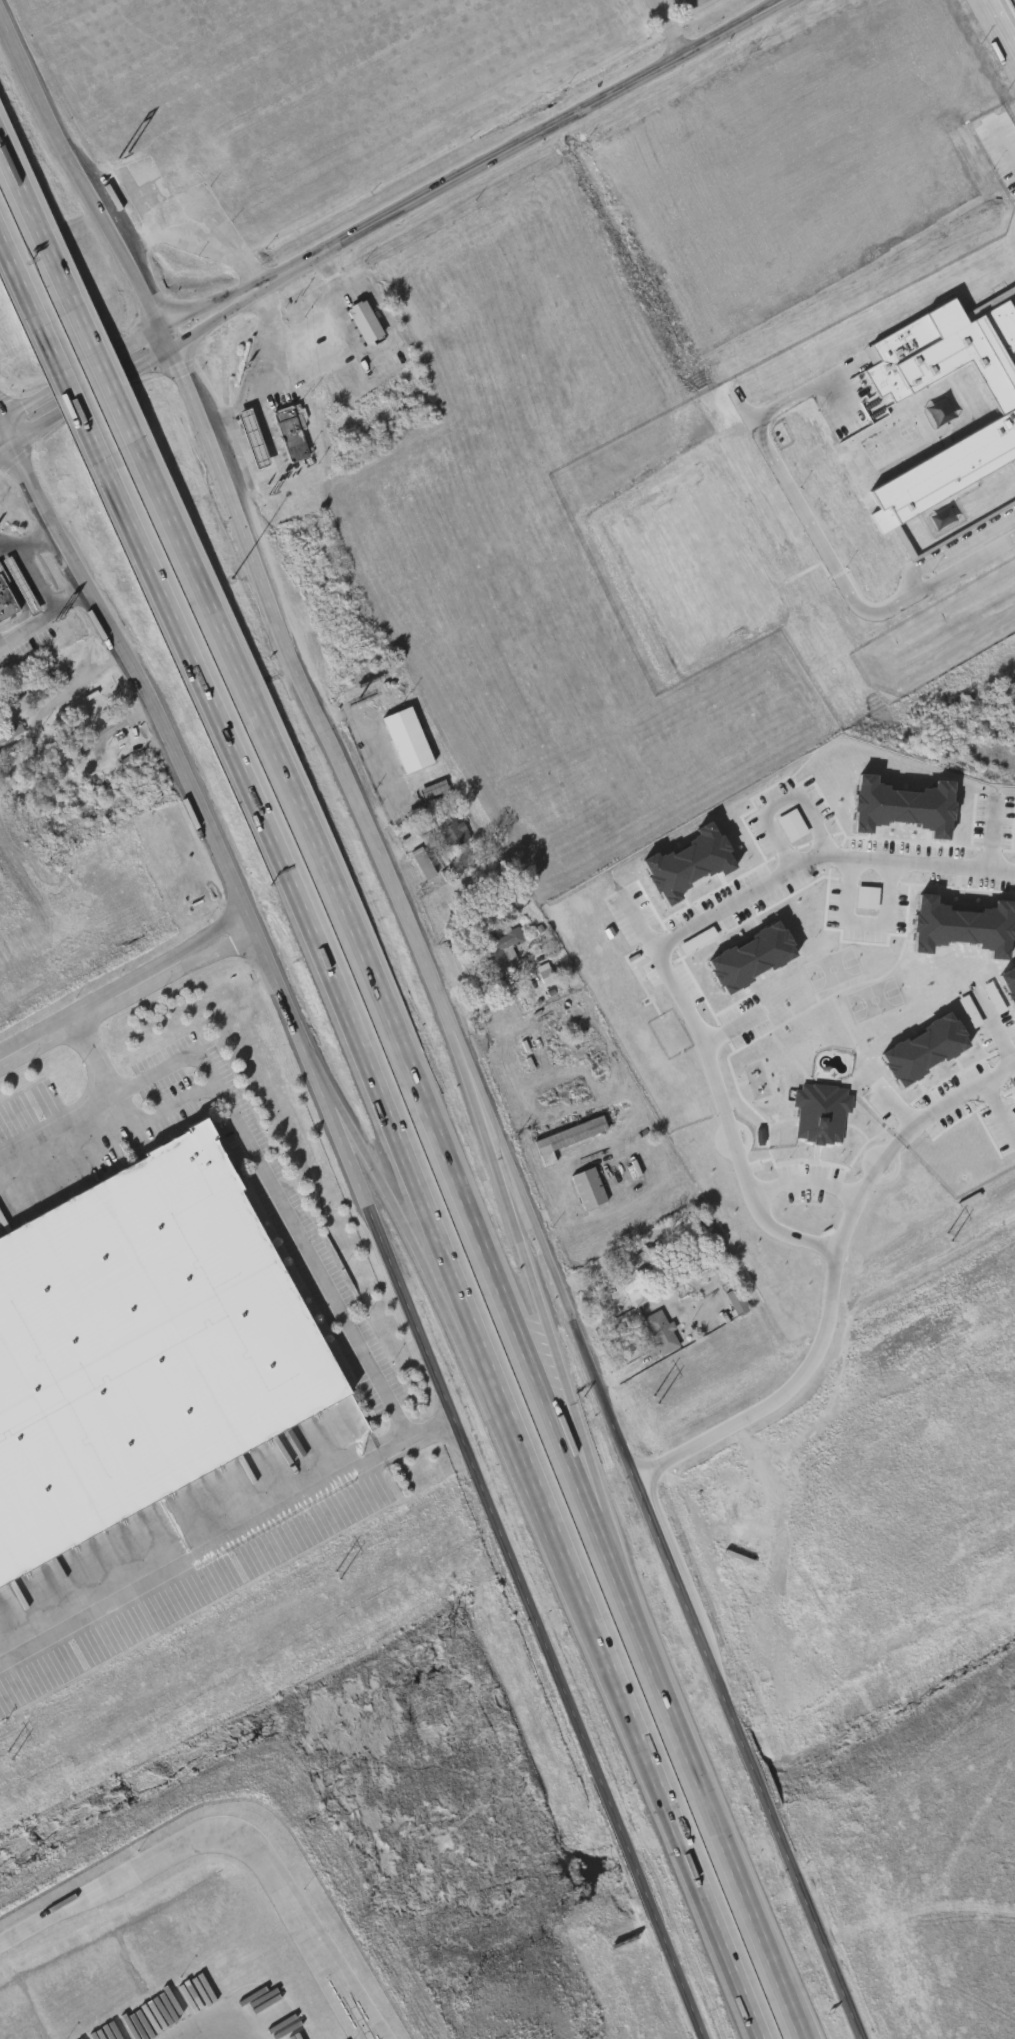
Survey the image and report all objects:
road: (667, 26)
road: (997, 34)
building: (972, 126)
road: (1001, 144)
road: (514, 145)
road: (46, 238)
road: (115, 239)
road: (30, 288)
building: (361, 320)
road: (272, 329)
road: (121, 343)
road: (313, 359)
road: (131, 366)
road: (109, 374)
road: (801, 387)
road: (78, 391)
building: (1005, 411)
road: (3, 430)
building: (291, 432)
building: (253, 438)
gas station: (253, 438)
road: (3, 442)
road: (805, 522)
road: (28, 540)
road: (952, 546)
road: (961, 565)
road: (38, 576)
building: (21, 584)
building: (7, 598)
road: (44, 614)
building: (37, 681)
road: (166, 734)
building: (403, 738)
road: (347, 768)
building: (433, 790)
road: (781, 800)
building: (903, 807)
building: (423, 826)
building: (792, 826)
road: (993, 832)
building: (454, 834)
road: (823, 857)
building: (423, 864)
building: (688, 864)
building: (867, 898)
road: (865, 922)
building: (962, 927)
road: (205, 936)
building: (498, 944)
road: (212, 954)
building: (752, 957)
building: (544, 972)
building: (1009, 983)
road: (346, 986)
road: (684, 1004)
road: (84, 1008)
road: (392, 1023)
road: (998, 1029)
building: (924, 1050)
road: (90, 1055)
road: (955, 1099)
building: (821, 1113)
road: (997, 1113)
building: (563, 1136)
road: (810, 1181)
building: (586, 1185)
road: (758, 1201)
power tower: (947, 1236)
building: (630, 1260)
building: (641, 1283)
road: (440, 1294)
building: (737, 1299)
building: (661, 1331)
road: (815, 1346)
building: (140, 1348)
road: (559, 1354)
road: (363, 1355)
power tower: (651, 1400)
road: (430, 1429)
road: (499, 1541)
road: (668, 1552)
power tower: (348, 1568)
building: (0, 1608)
road: (642, 1715)
power tower: (18, 1750)
road: (225, 1835)
road: (727, 1840)
road: (733, 1959)
road: (739, 1959)
road: (224, 2027)

